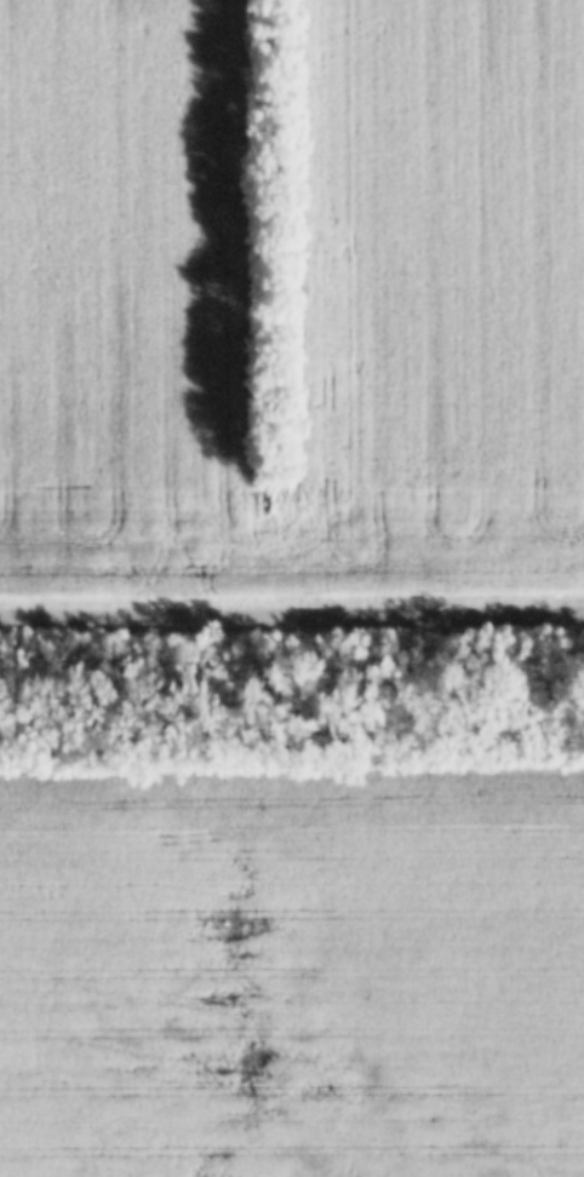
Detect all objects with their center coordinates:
road: (291, 618)

